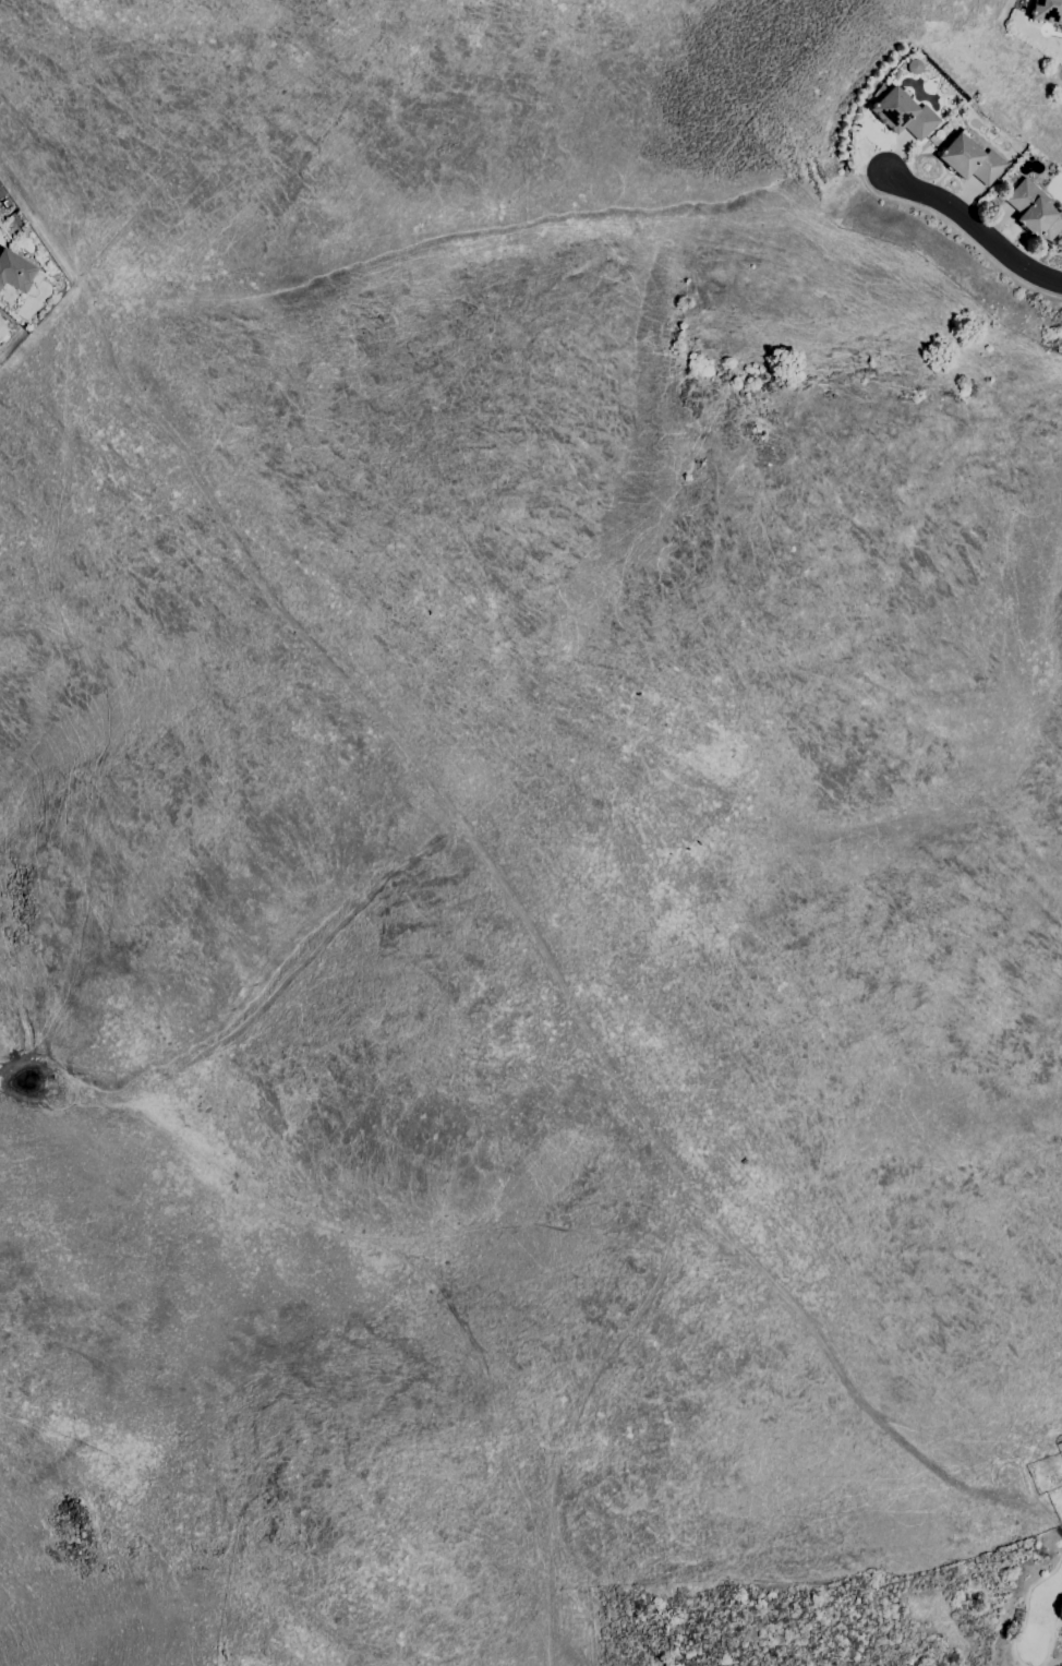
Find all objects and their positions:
building: (1047, 11)
building: (903, 113)
building: (970, 159)
building: (1034, 211)
road: (977, 227)
road: (961, 235)
building: (15, 271)

